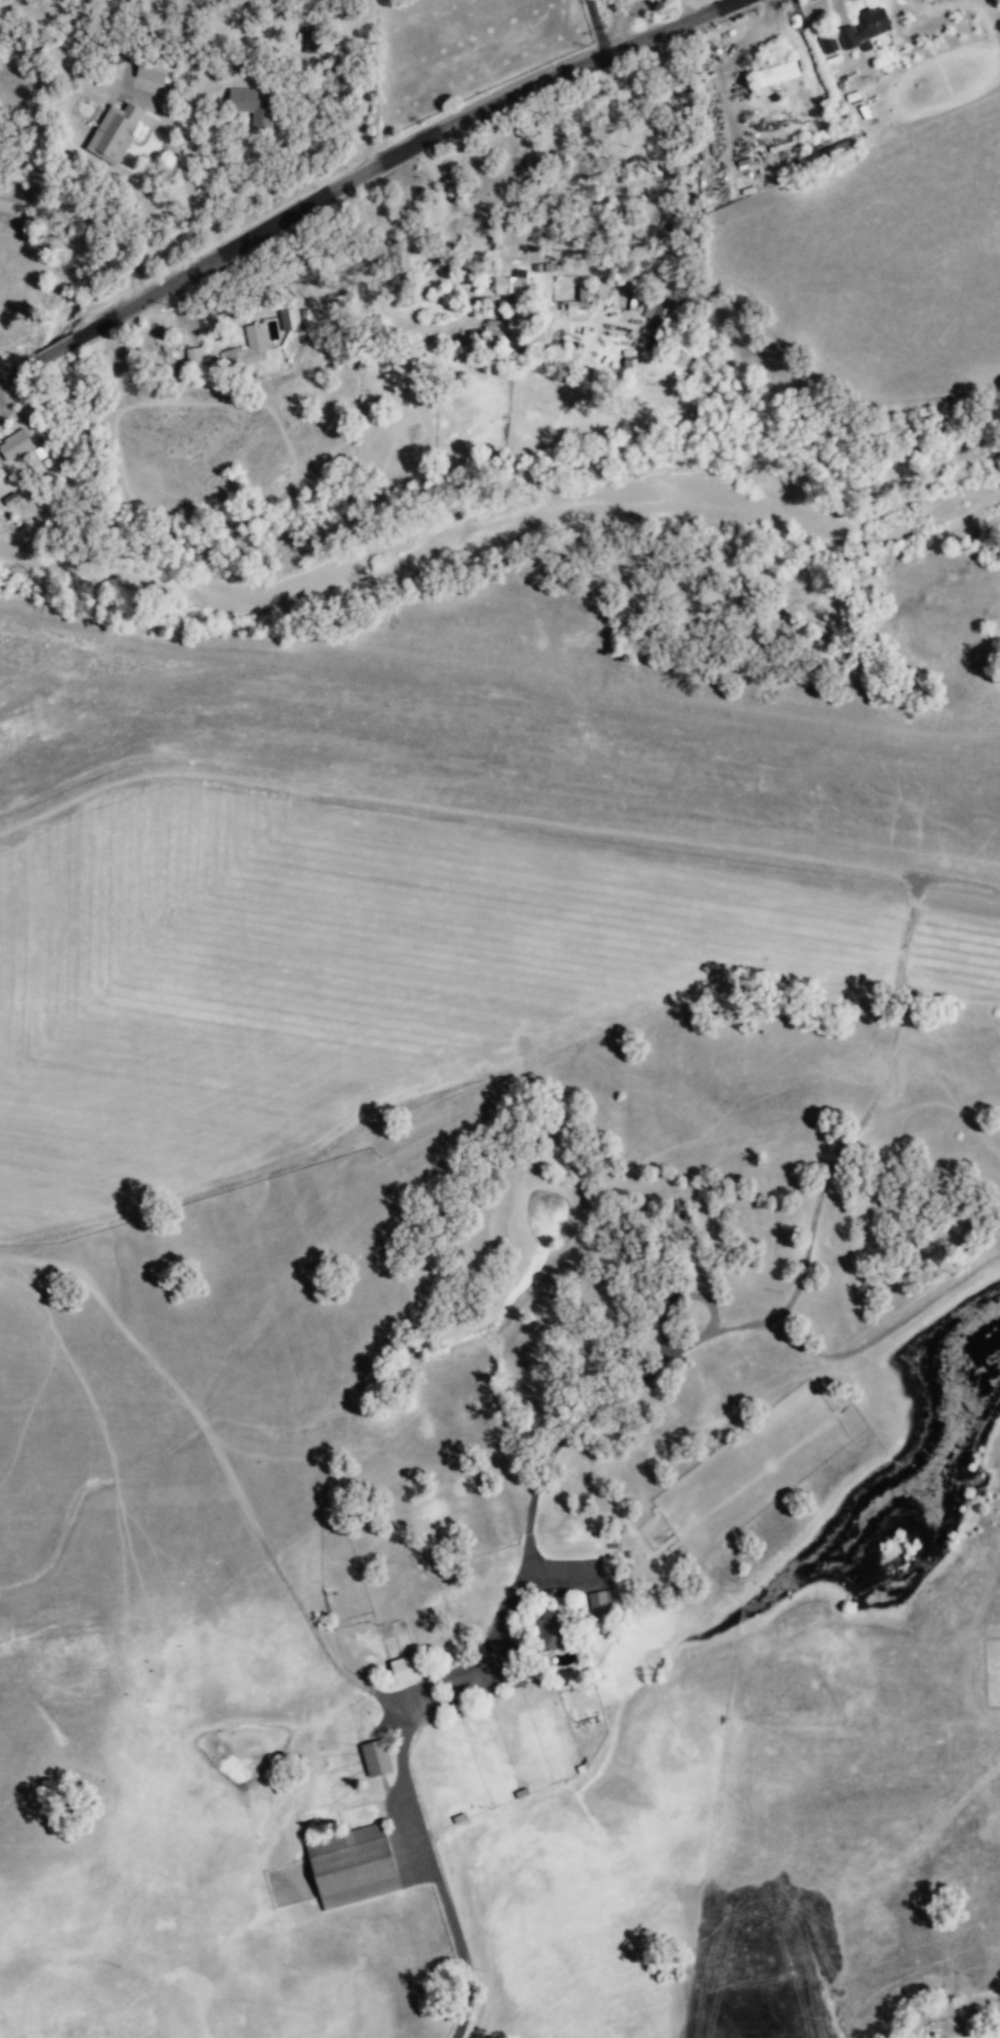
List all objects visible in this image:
building: (864, 28)
building: (312, 41)
building: (827, 44)
building: (154, 72)
building: (775, 74)
road: (355, 85)
building: (252, 106)
building: (113, 133)
building: (834, 149)
road: (396, 153)
building: (577, 301)
building: (660, 312)
building: (304, 315)
building: (287, 318)
road: (57, 347)
building: (247, 349)
building: (192, 355)
road: (19, 369)
building: (14, 445)
river: (539, 509)
river: (47, 554)
road: (213, 1445)
building: (603, 1601)
building: (549, 1630)
building: (405, 1669)
road: (386, 1697)
road: (401, 1745)
building: (374, 1758)
building: (351, 1867)

